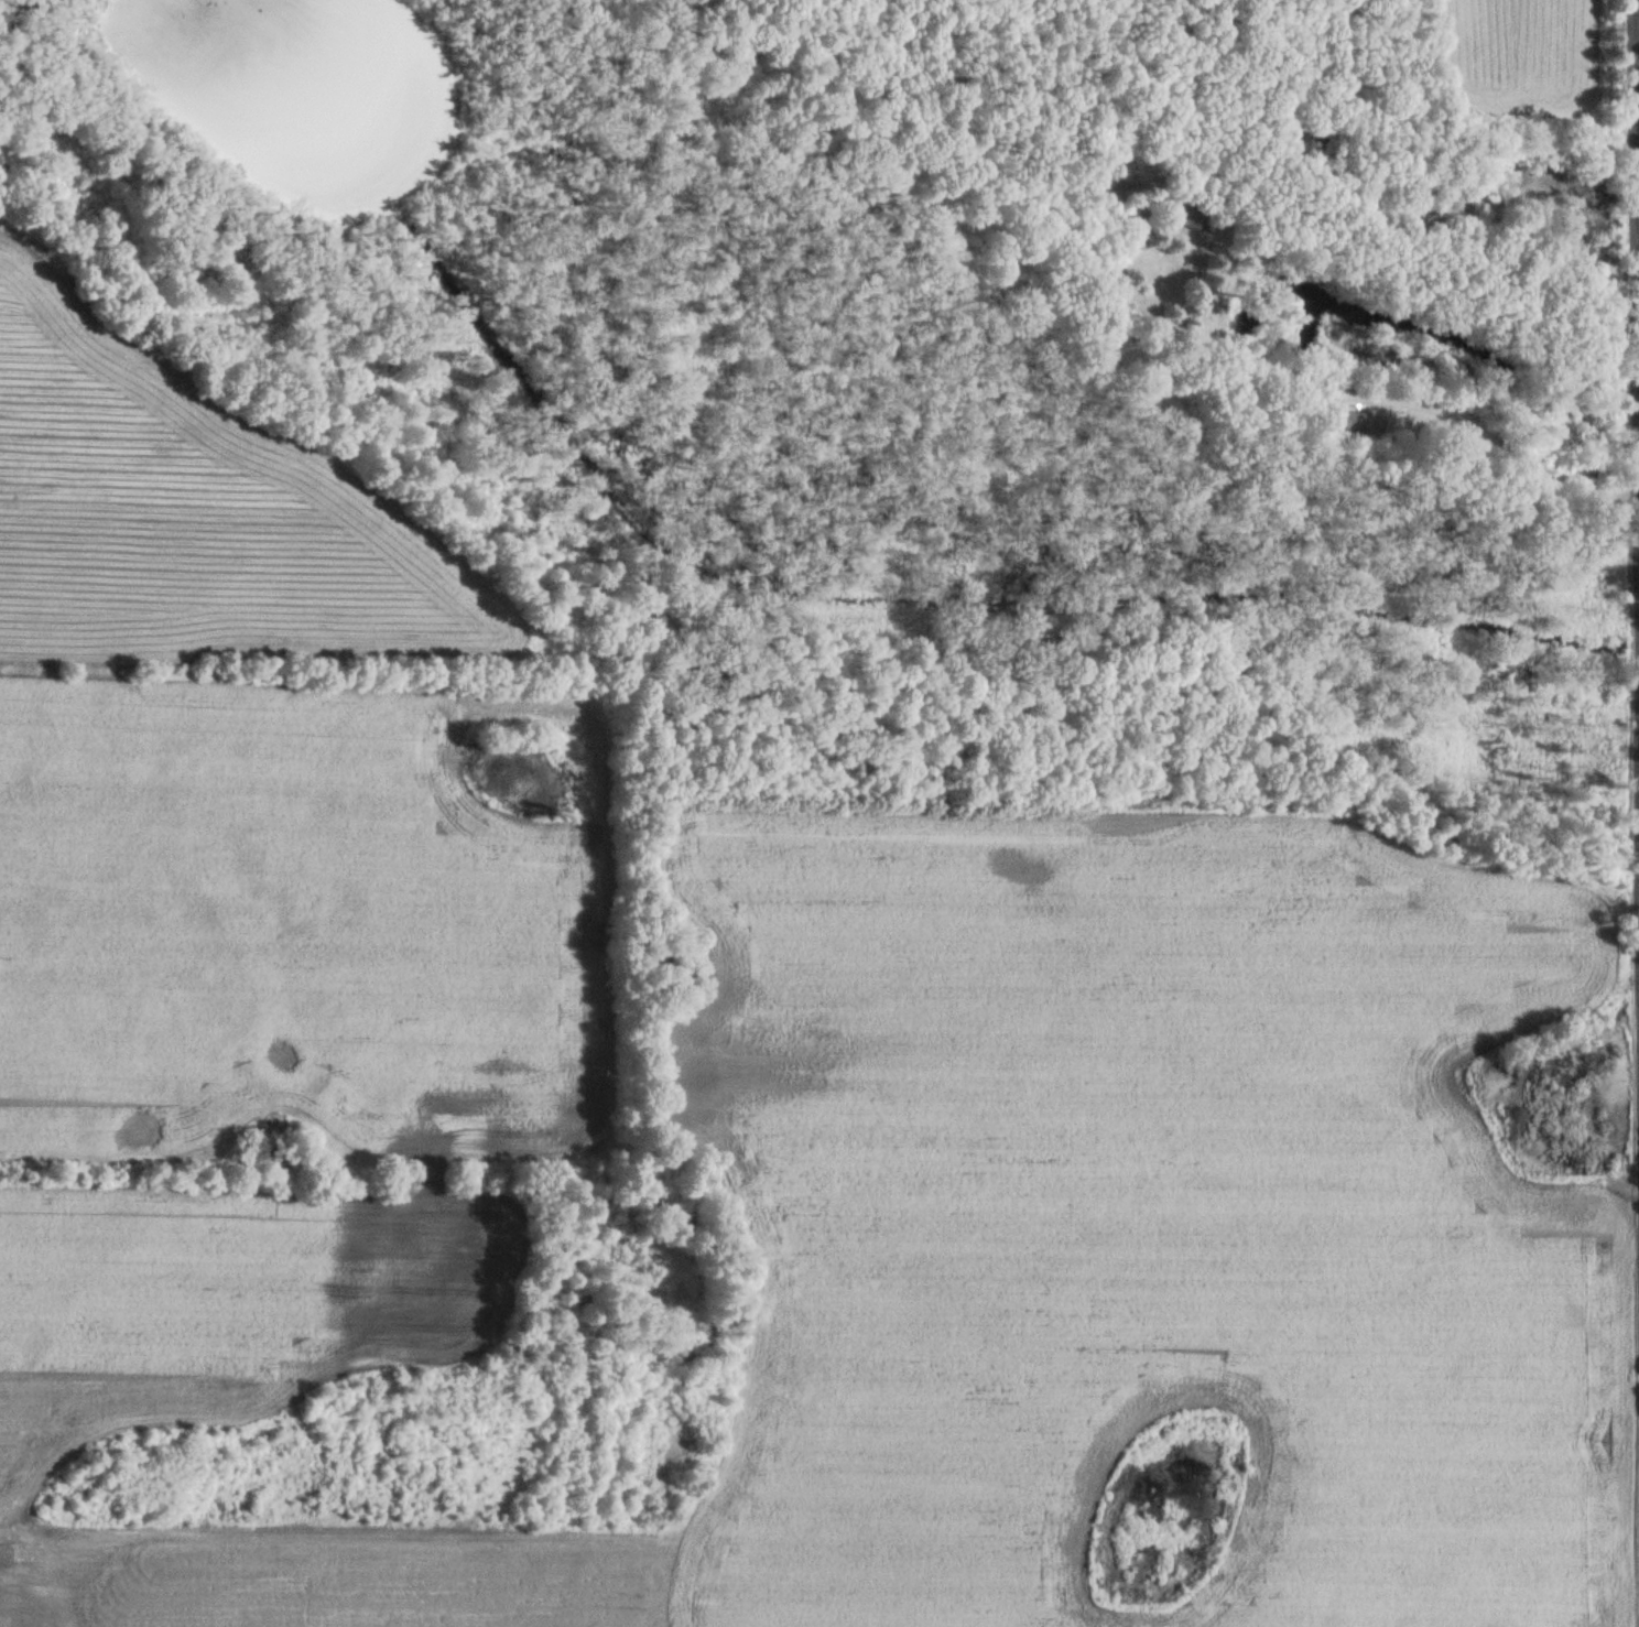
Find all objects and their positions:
building: (1188, 215)
road: (1637, 355)
road: (1378, 400)

